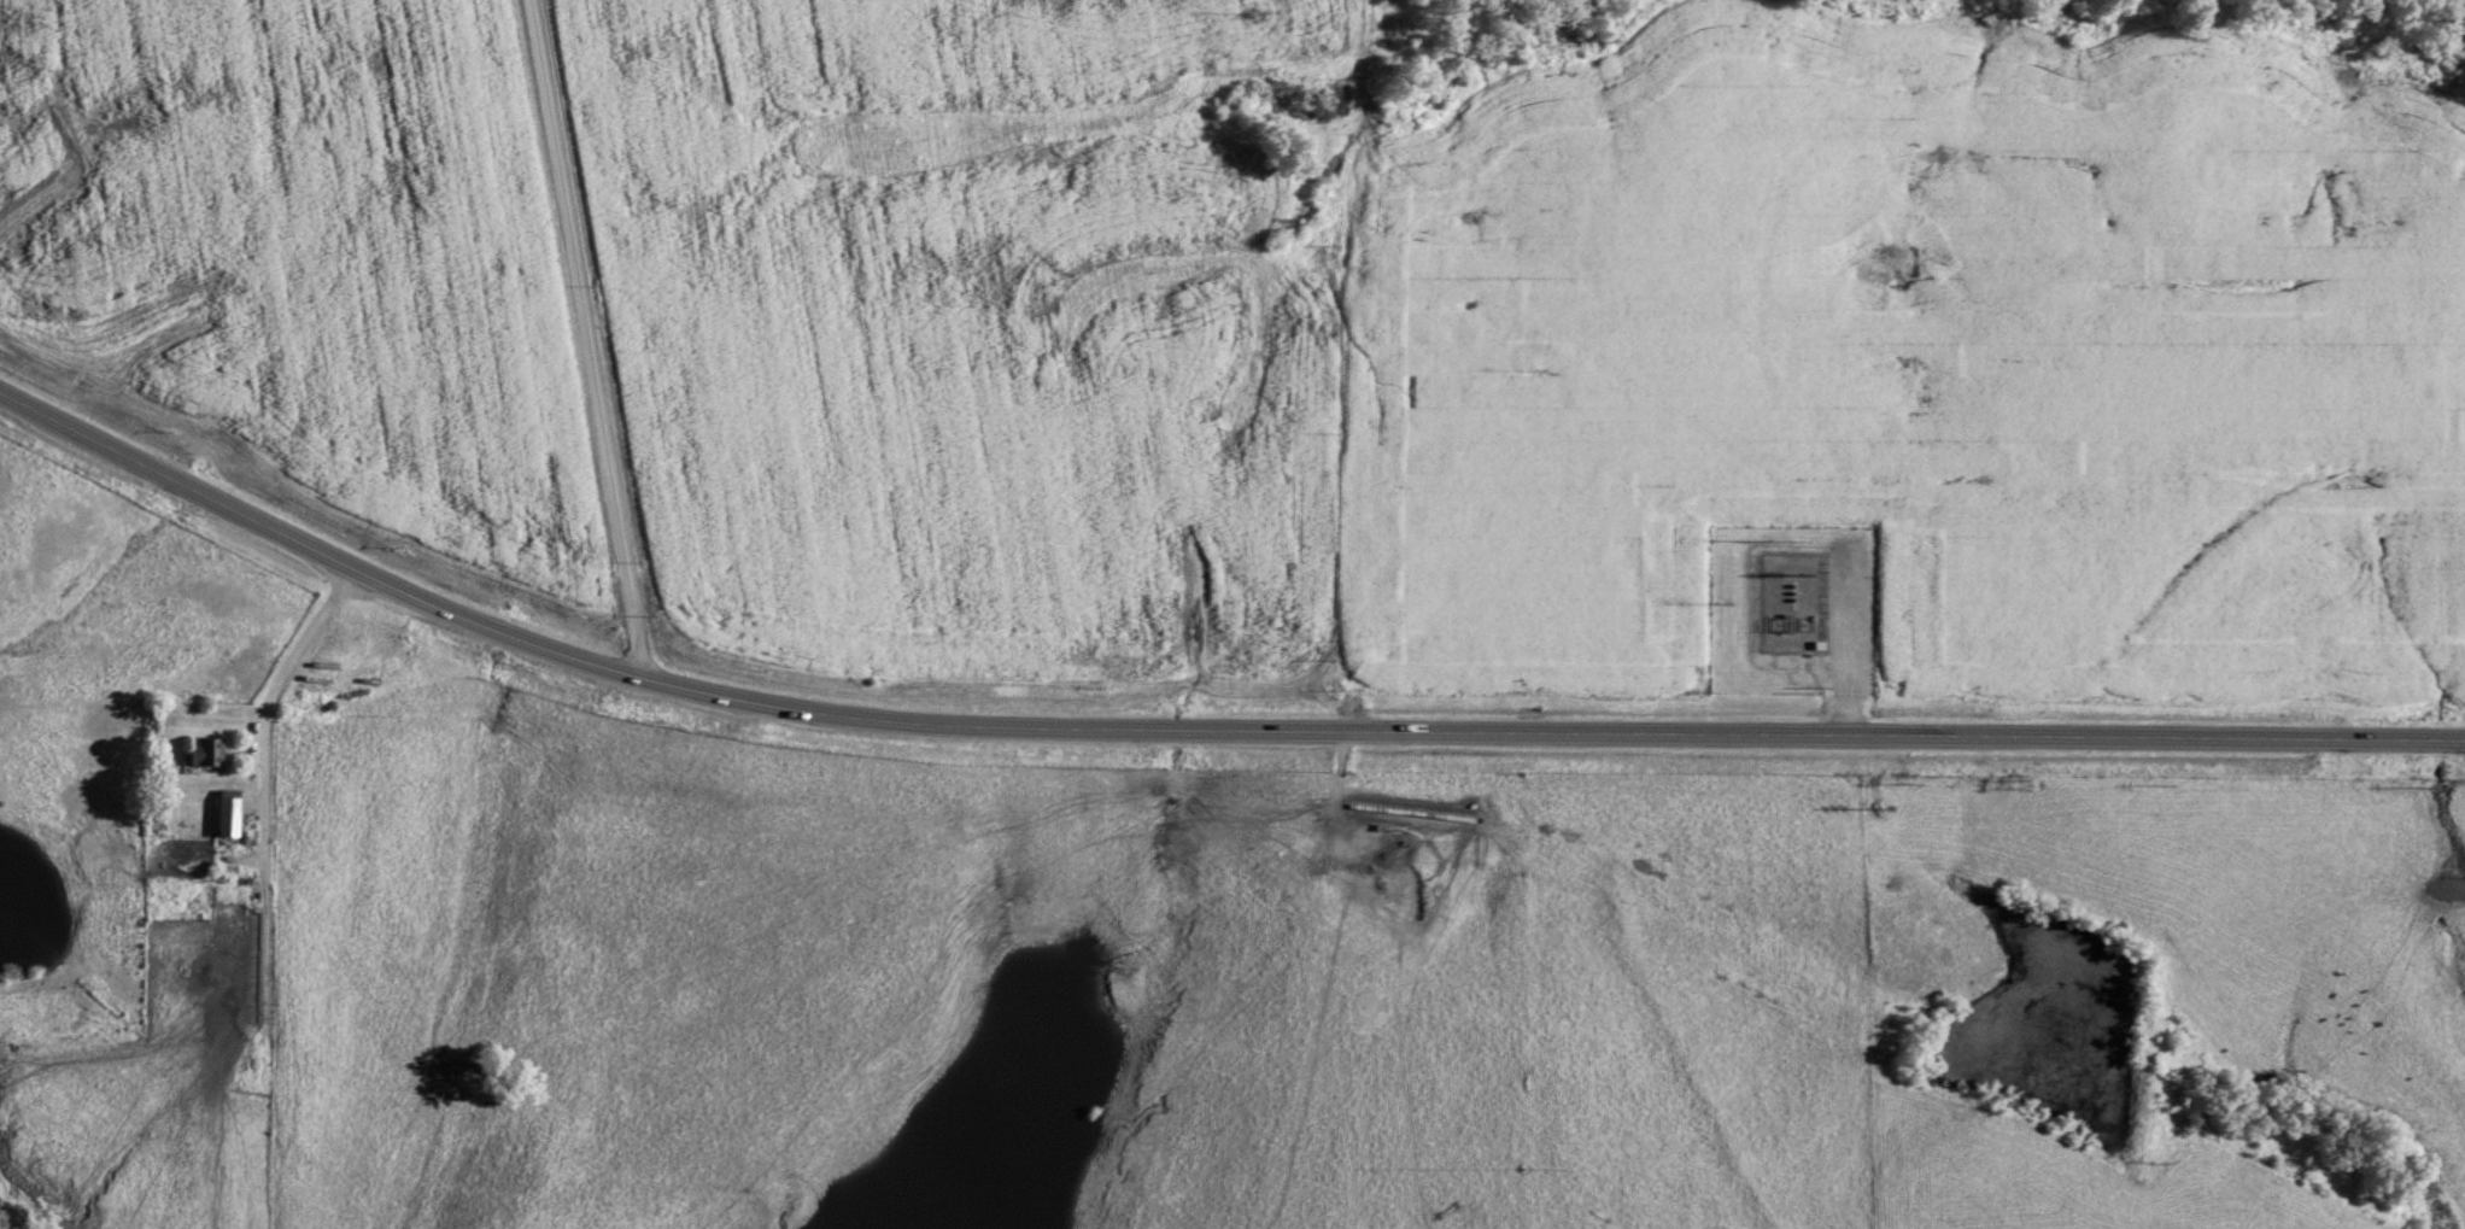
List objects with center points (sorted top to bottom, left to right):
road: (586, 338)
power substation: (1790, 598)
road: (1199, 727)
building: (205, 750)
building: (227, 812)

